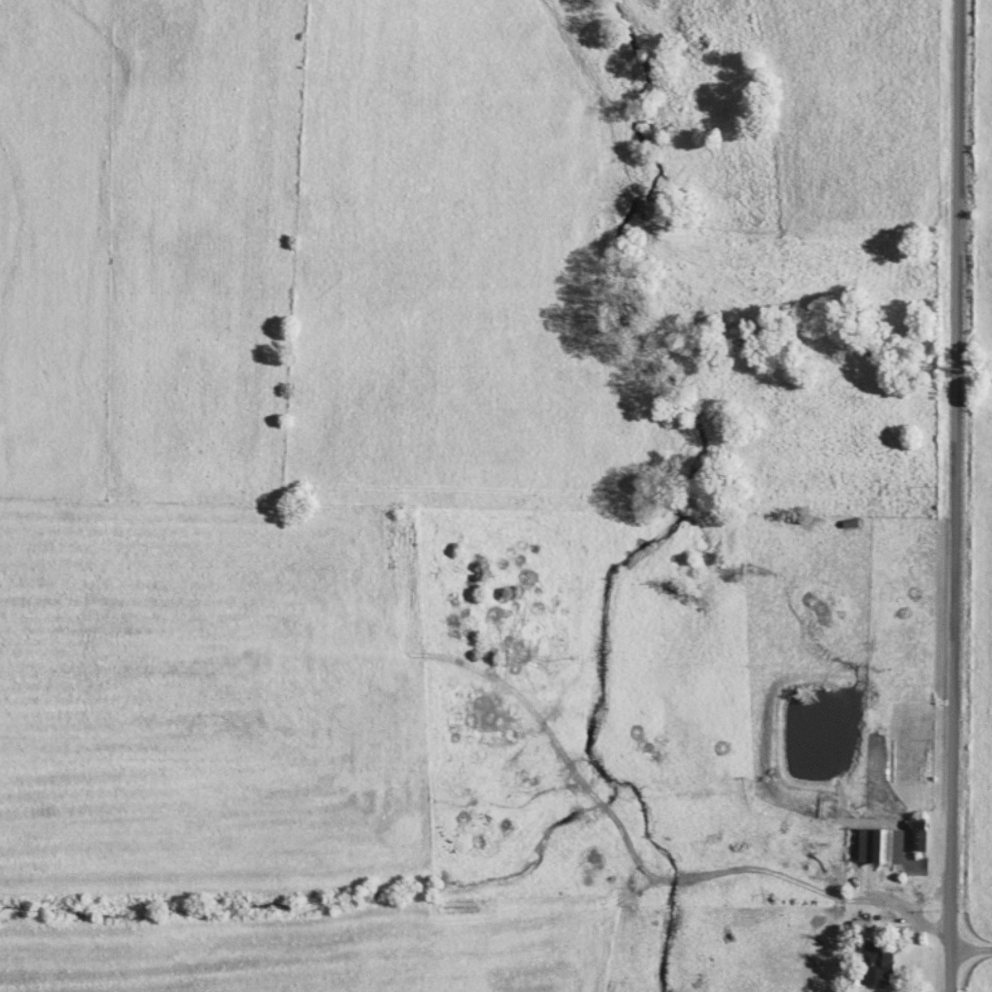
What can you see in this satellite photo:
road: (953, 496)
road: (906, 918)
road: (969, 951)

